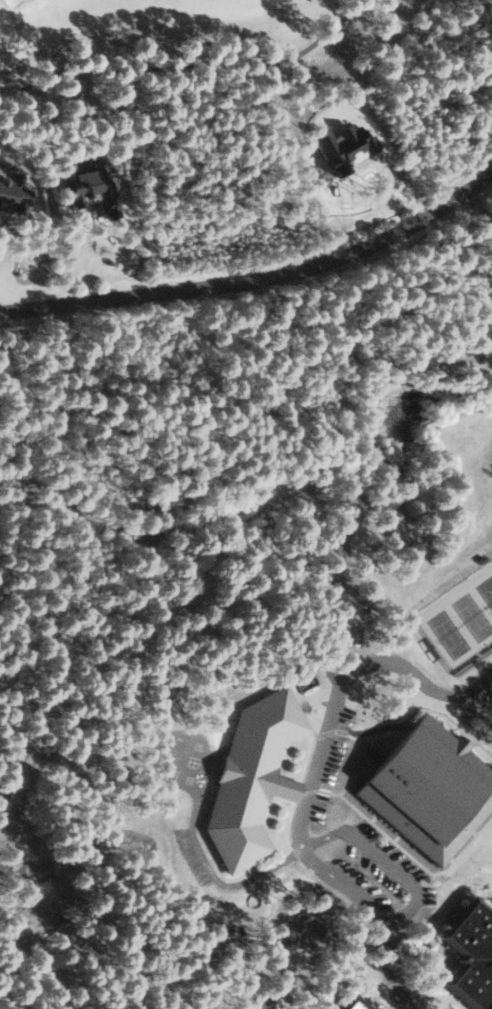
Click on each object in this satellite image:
park: (172, 42)
building: (86, 185)
building: (12, 189)
road: (258, 278)
road: (244, 523)
park: (461, 619)
building: (252, 777)
road: (311, 777)
building: (429, 788)
building: (471, 954)
building: (356, 1004)

